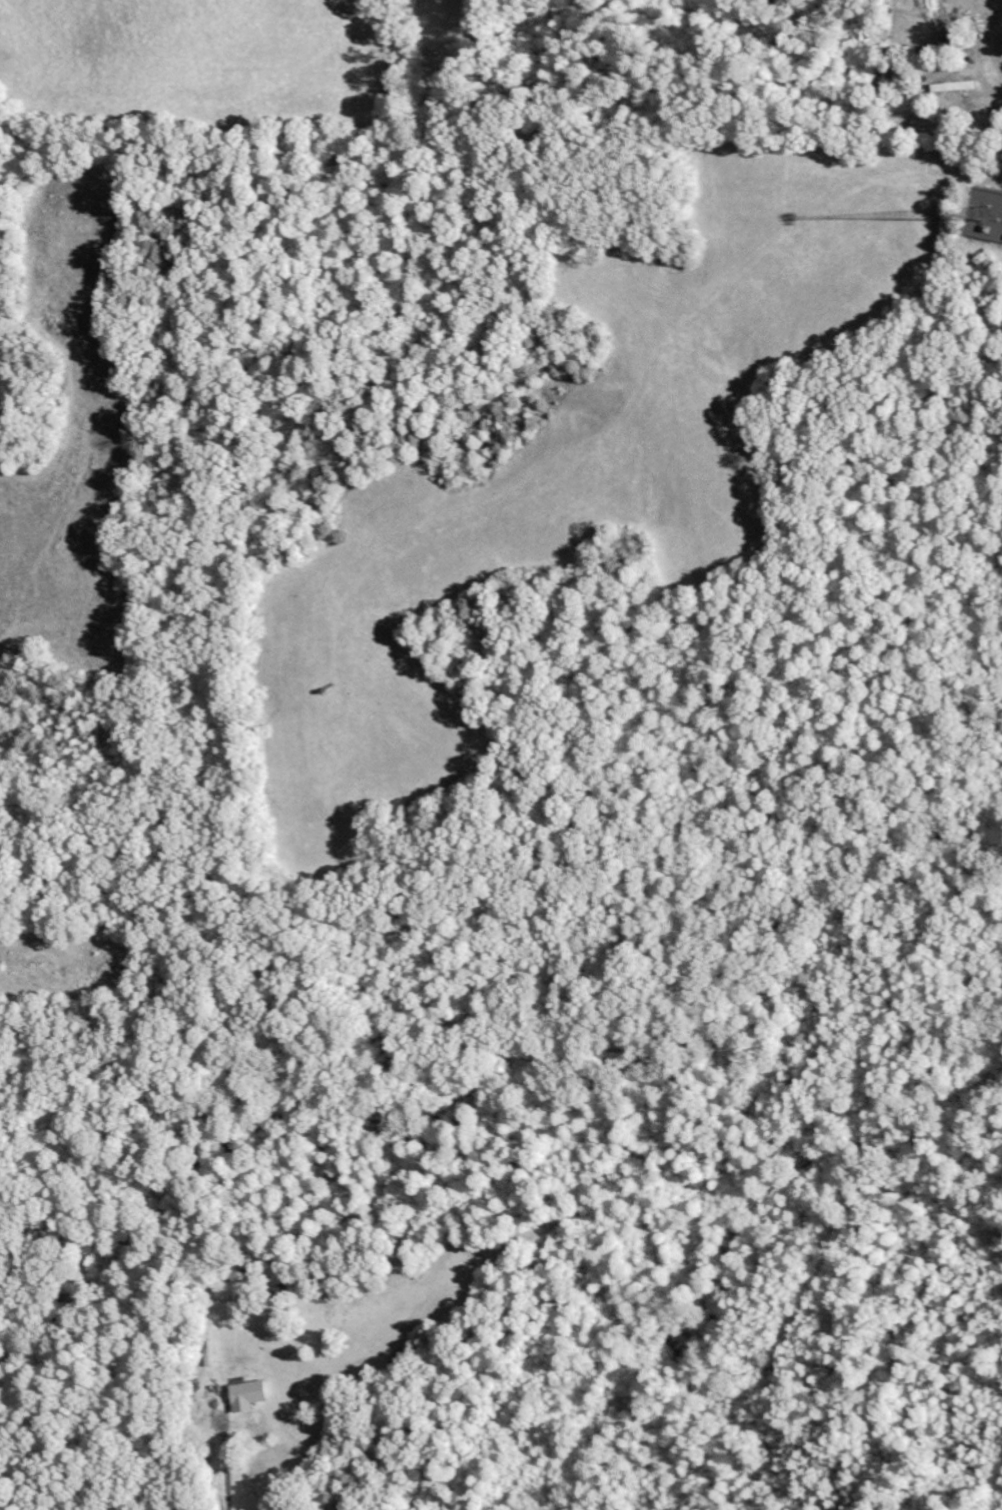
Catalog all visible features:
building: (952, 87)
building: (246, 1395)
road: (223, 1469)

